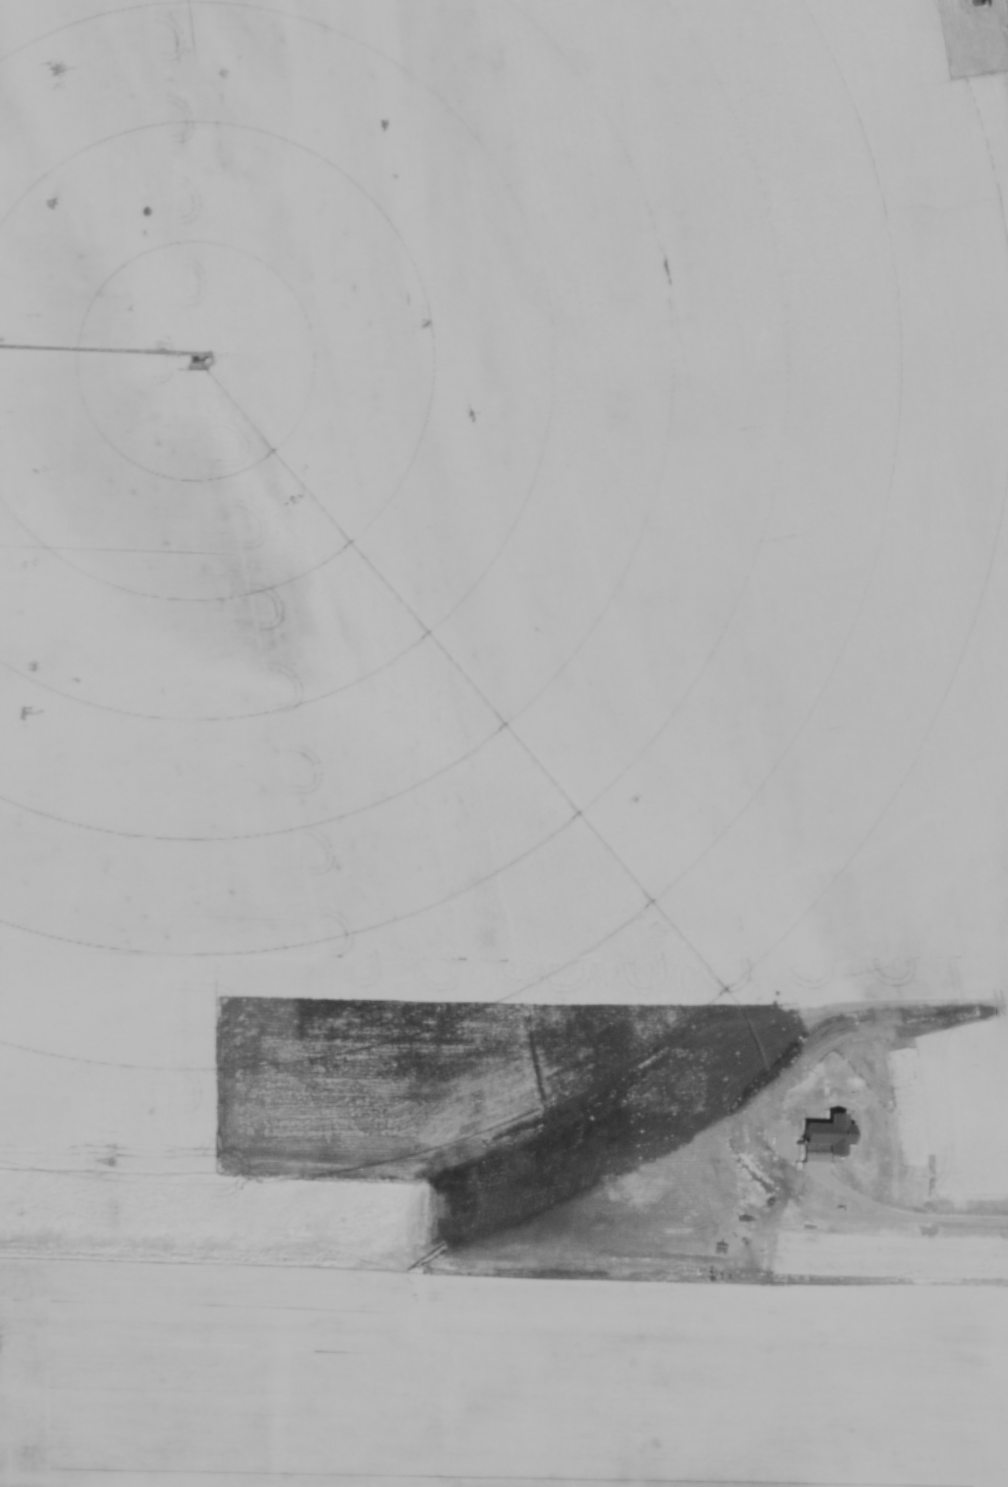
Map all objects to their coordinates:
building: (826, 1131)

